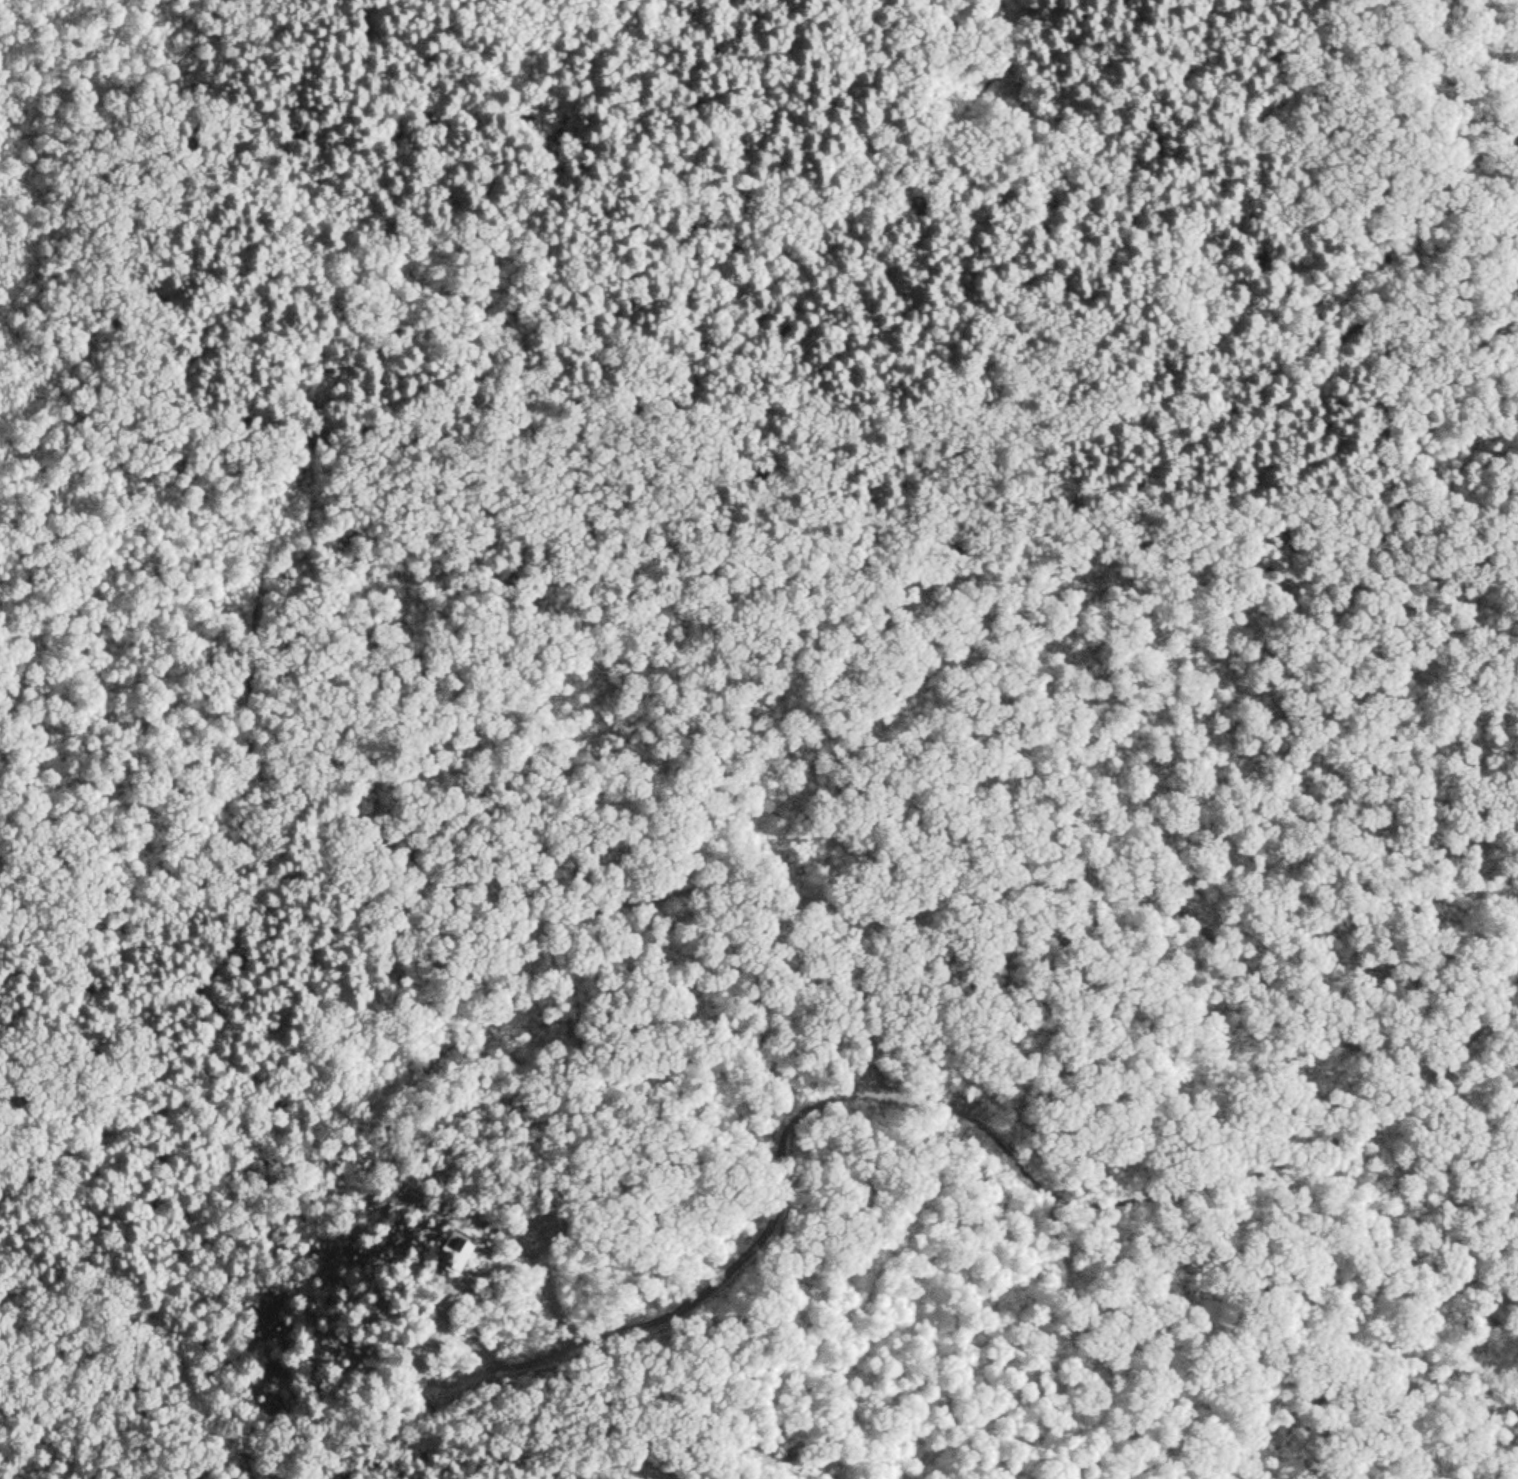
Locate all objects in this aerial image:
building: (448, 1250)

